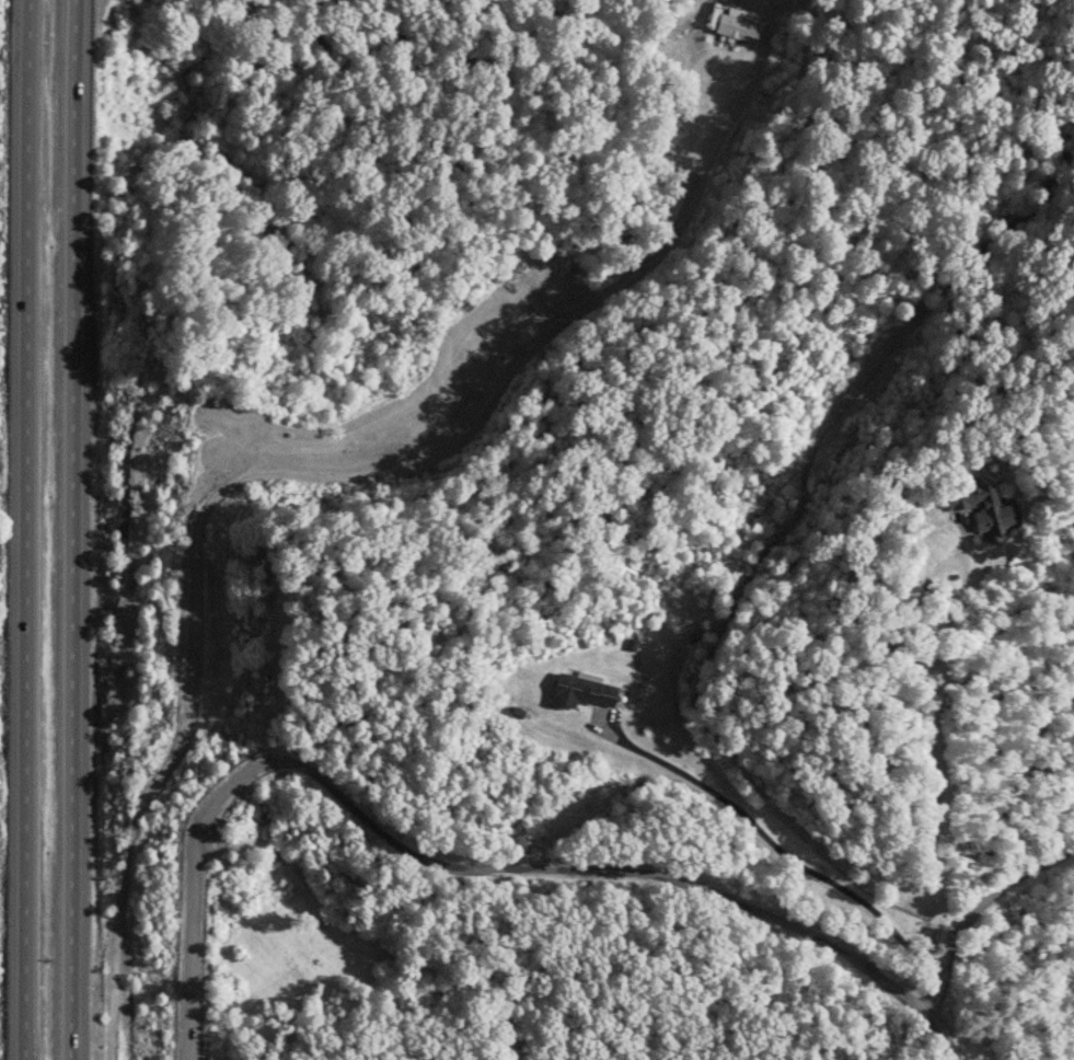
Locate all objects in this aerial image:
building: (736, 26)
road: (288, 477)
building: (983, 508)
road: (23, 529)
road: (73, 529)
building: (580, 692)
road: (457, 873)

